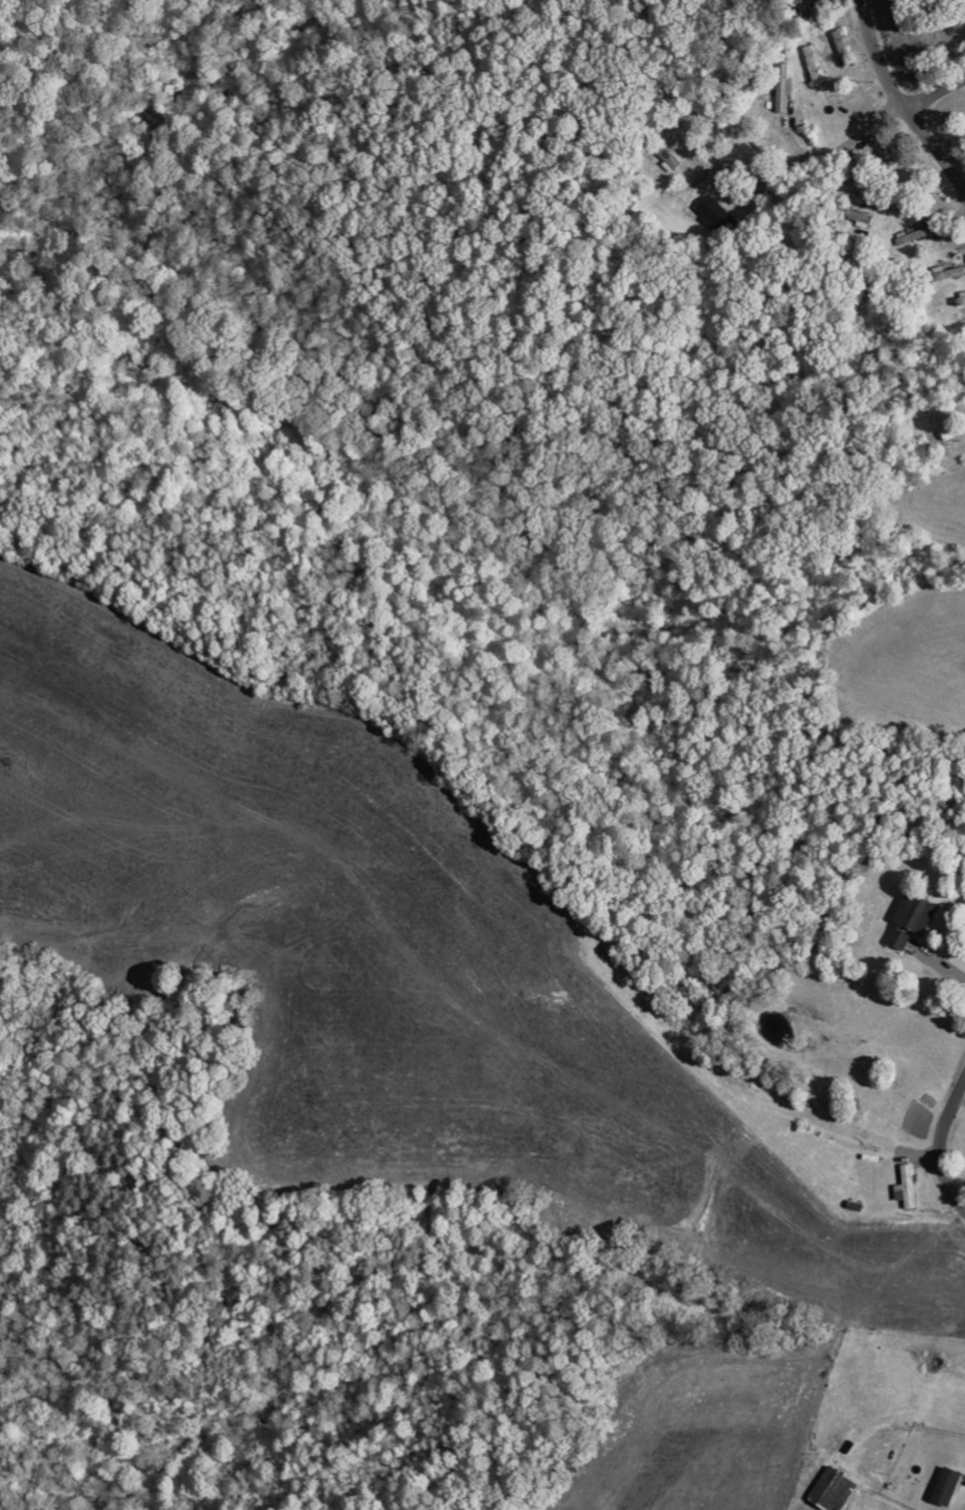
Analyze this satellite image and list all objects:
building: (844, 49)
building: (814, 64)
building: (784, 89)
road: (934, 91)
road: (901, 102)
road: (869, 154)
building: (716, 216)
building: (861, 220)
building: (913, 238)
building: (949, 274)
building: (962, 300)
building: (914, 922)
road: (946, 1150)
building: (909, 1188)
building: (949, 1488)
building: (836, 1490)

